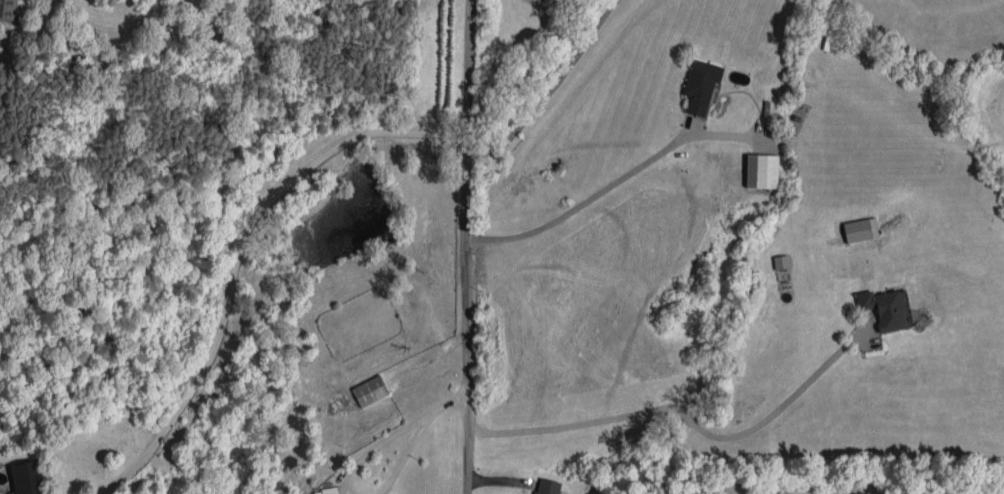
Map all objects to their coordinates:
building: (8, 10)
road: (119, 23)
building: (700, 85)
road: (553, 89)
building: (761, 170)
road: (587, 200)
building: (860, 229)
road: (473, 246)
road: (238, 250)
building: (781, 261)
building: (884, 308)
building: (370, 390)
road: (447, 403)
road: (672, 418)
road: (375, 449)
road: (403, 456)
building: (28, 477)
building: (547, 486)

